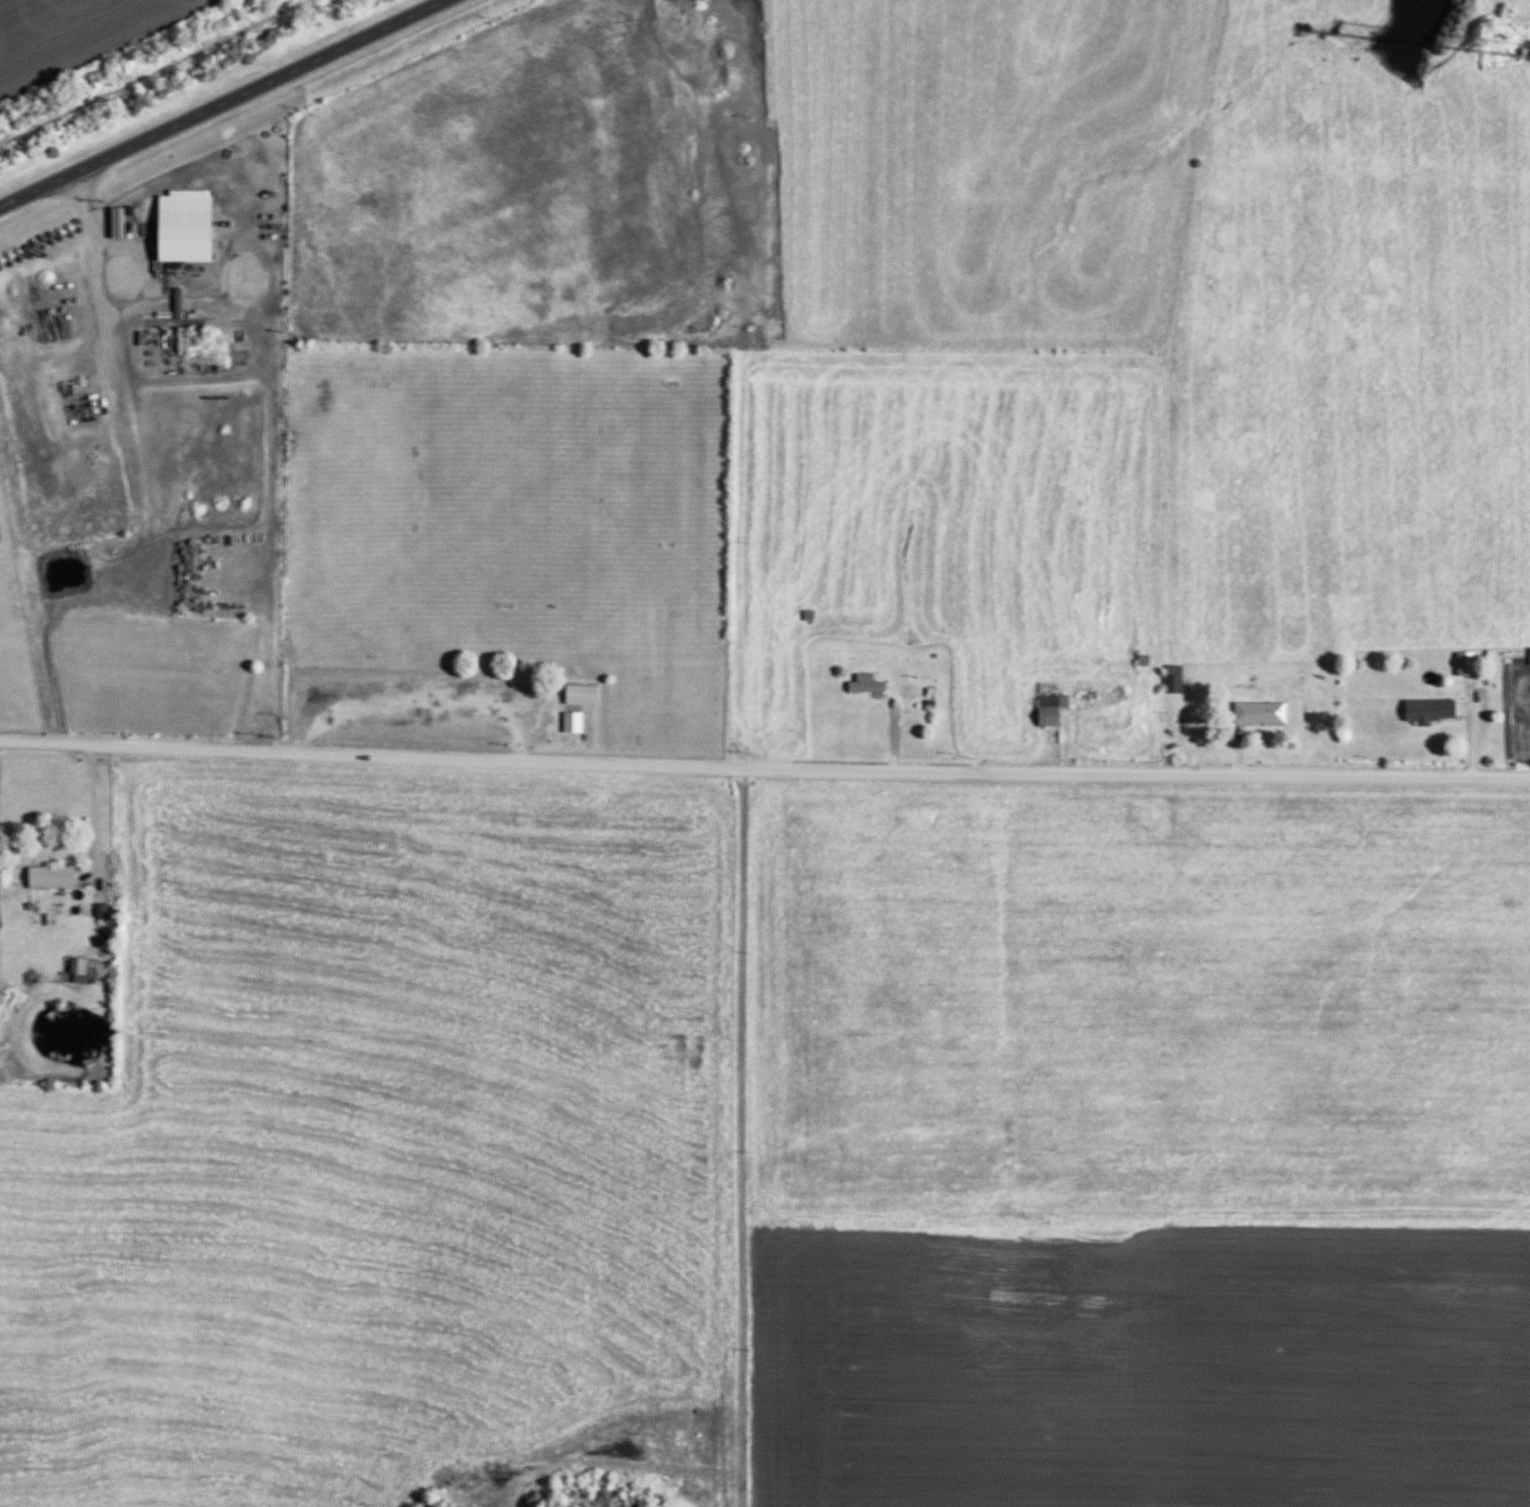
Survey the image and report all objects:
railway: (120, 55)
road: (222, 103)
building: (179, 231)
building: (1169, 680)
building: (861, 685)
building: (572, 705)
building: (1045, 708)
building: (1425, 711)
building: (1255, 713)
road: (764, 764)
road: (97, 815)
building: (46, 876)
building: (73, 967)

